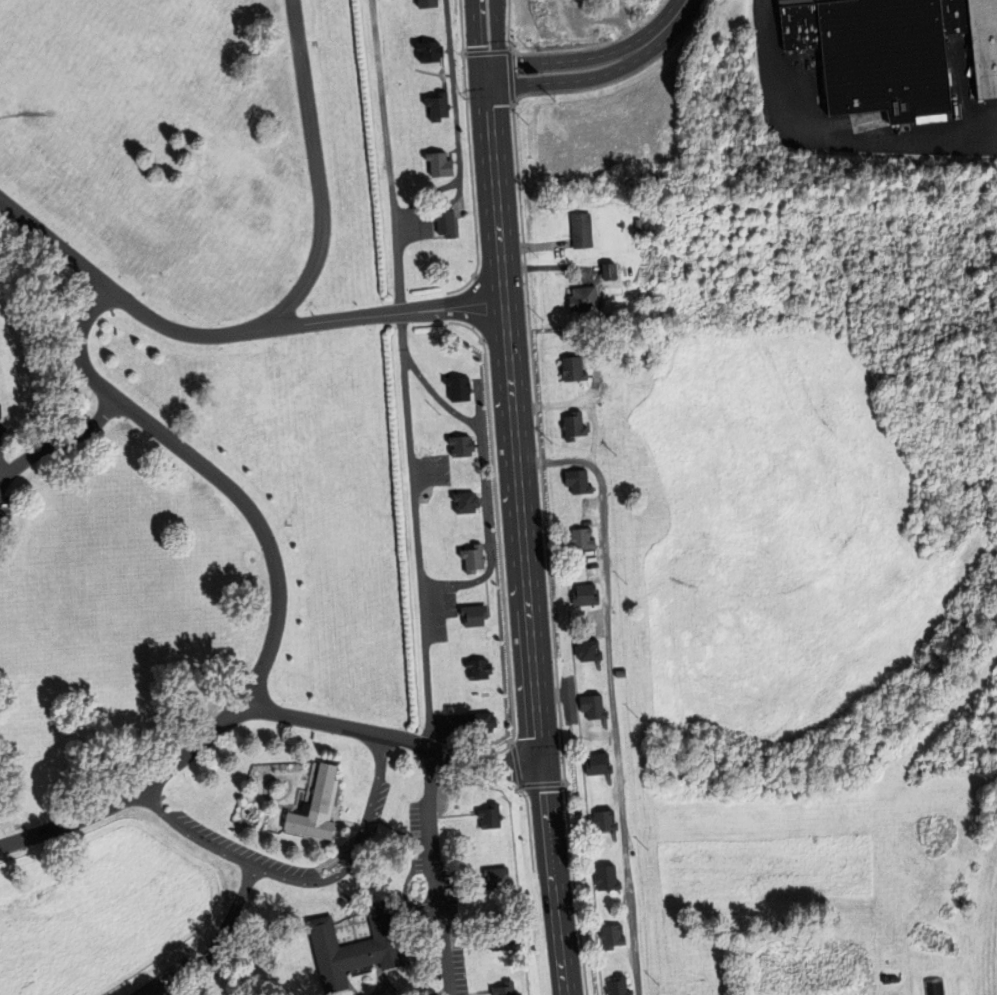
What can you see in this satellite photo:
building: (802, 2)
building: (423, 4)
building: (952, 17)
road: (670, 21)
building: (797, 27)
building: (982, 46)
building: (426, 54)
building: (881, 57)
road: (564, 60)
traffic signals: (475, 66)
road: (570, 81)
traffic signals: (498, 86)
road: (498, 99)
road: (476, 100)
building: (434, 106)
road: (455, 127)
road: (823, 137)
road: (385, 156)
building: (437, 164)
road: (314, 173)
building: (442, 223)
building: (582, 230)
road: (498, 265)
building: (609, 272)
building: (586, 298)
road: (295, 324)
building: (574, 368)
building: (455, 388)
building: (574, 426)
road: (59, 442)
building: (457, 445)
building: (577, 482)
road: (237, 497)
building: (463, 502)
road: (415, 531)
building: (582, 539)
building: (470, 559)
building: (585, 596)
building: (471, 616)
building: (590, 651)
road: (530, 664)
building: (474, 669)
building: (620, 672)
road: (608, 687)
building: (594, 706)
building: (478, 723)
road: (395, 739)
building: (599, 764)
traffic signals: (541, 781)
road: (367, 788)
building: (492, 816)
building: (605, 820)
road: (40, 831)
road: (244, 854)
road: (433, 872)
building: (608, 876)
building: (492, 878)
building: (613, 936)
building: (352, 947)
building: (619, 986)
building: (935, 987)
building: (499, 989)

